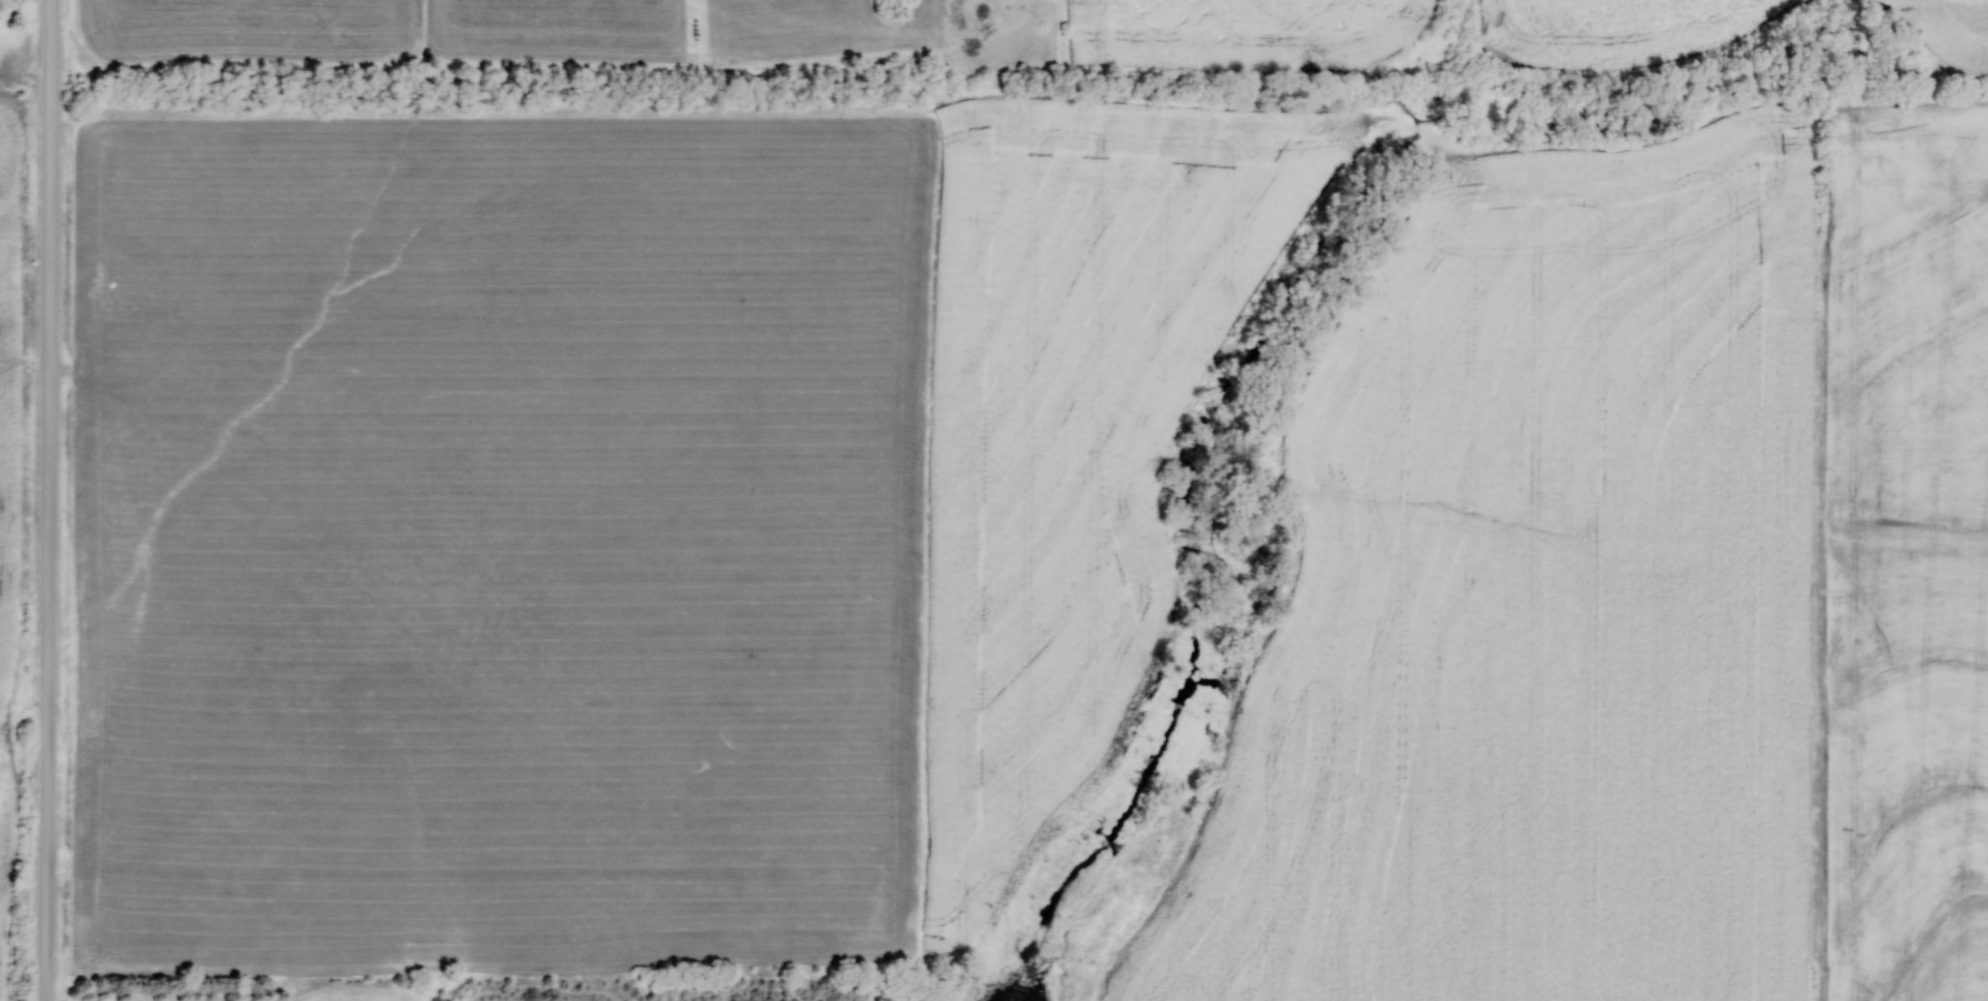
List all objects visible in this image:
road: (48, 500)

